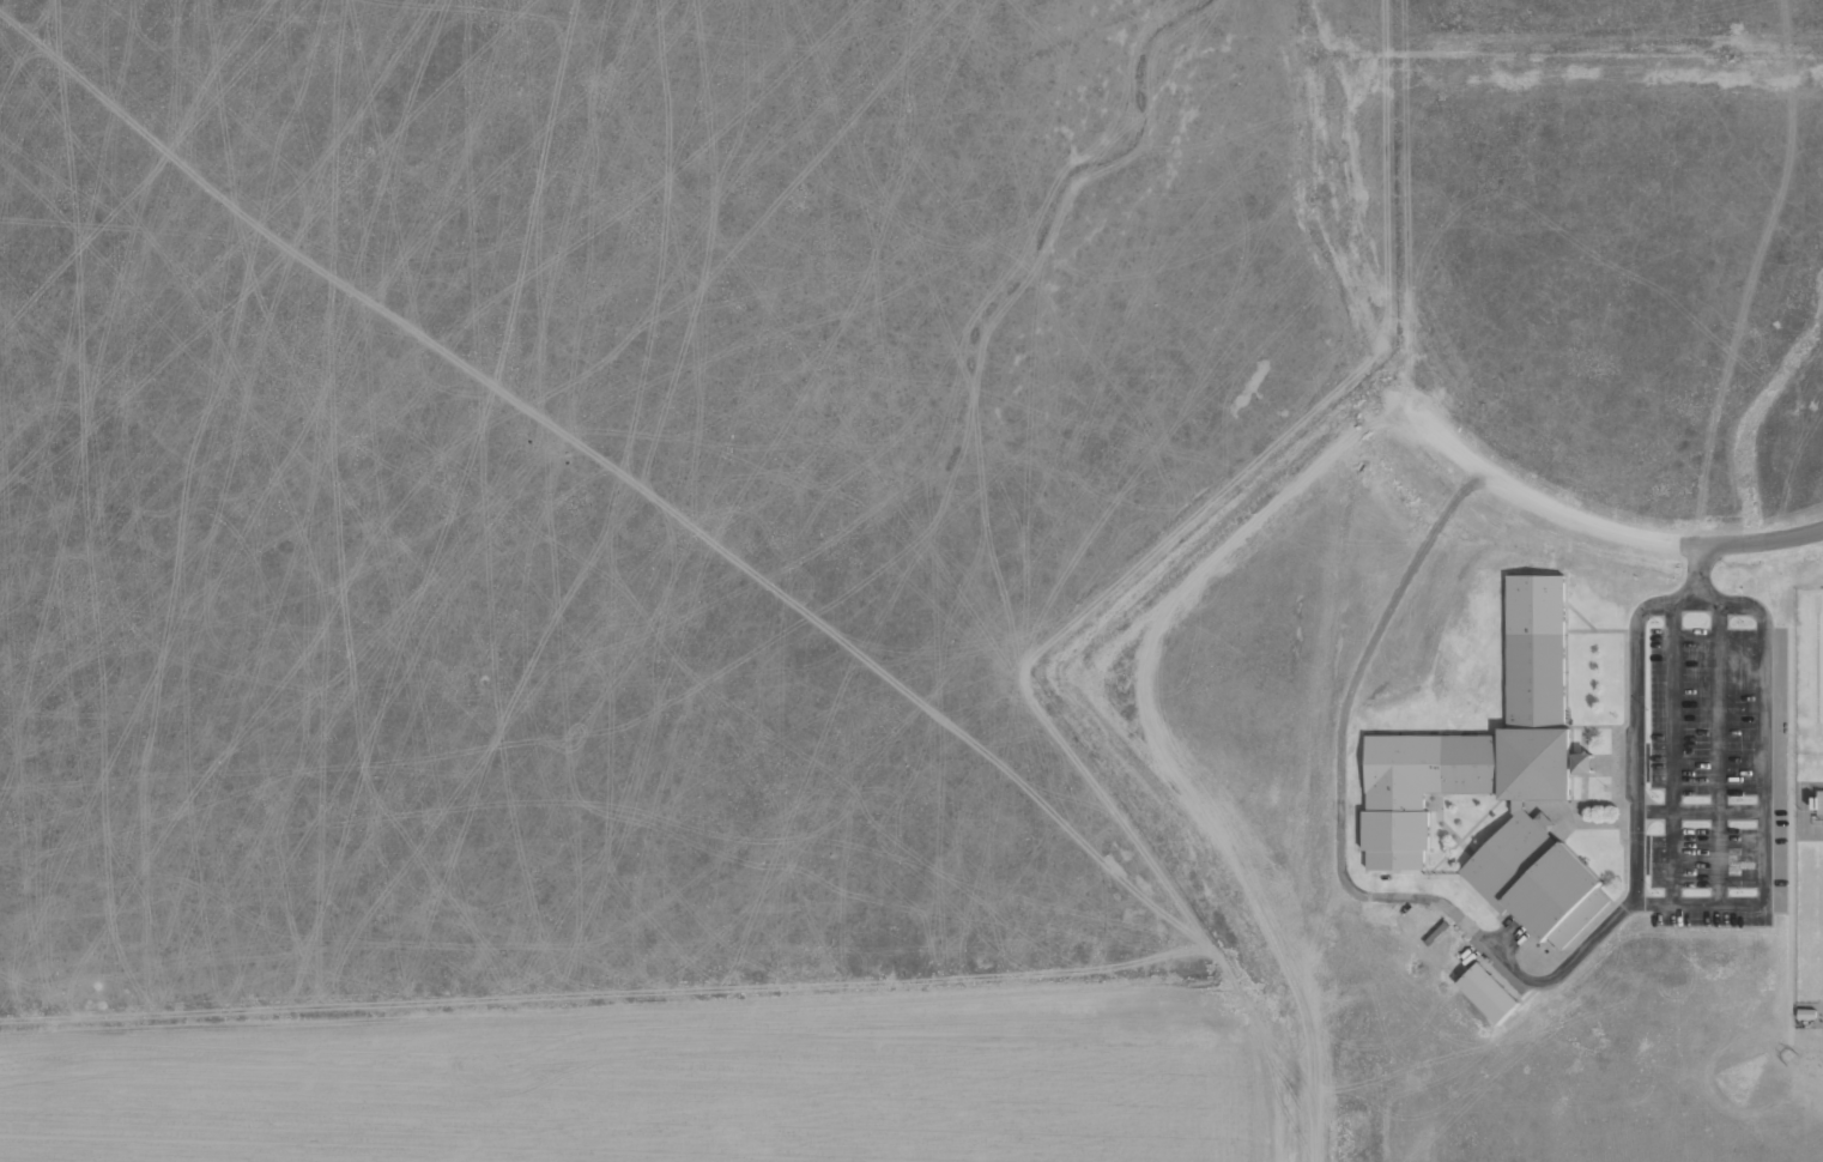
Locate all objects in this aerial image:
road: (1533, 498)
road: (1761, 541)
road: (1698, 562)
road: (1688, 592)
road: (1704, 592)
park: (1816, 667)
road: (1340, 721)
road: (1671, 752)
road: (1718, 754)
parking lot: (1698, 761)
building: (1583, 763)
building: (1497, 779)
building: (1812, 803)
road: (1777, 810)
building: (1818, 810)
road: (1700, 811)
road: (1791, 835)
road: (1730, 904)
road: (1554, 976)
building: (1488, 993)
track: (1787, 1054)
park: (1740, 1078)

